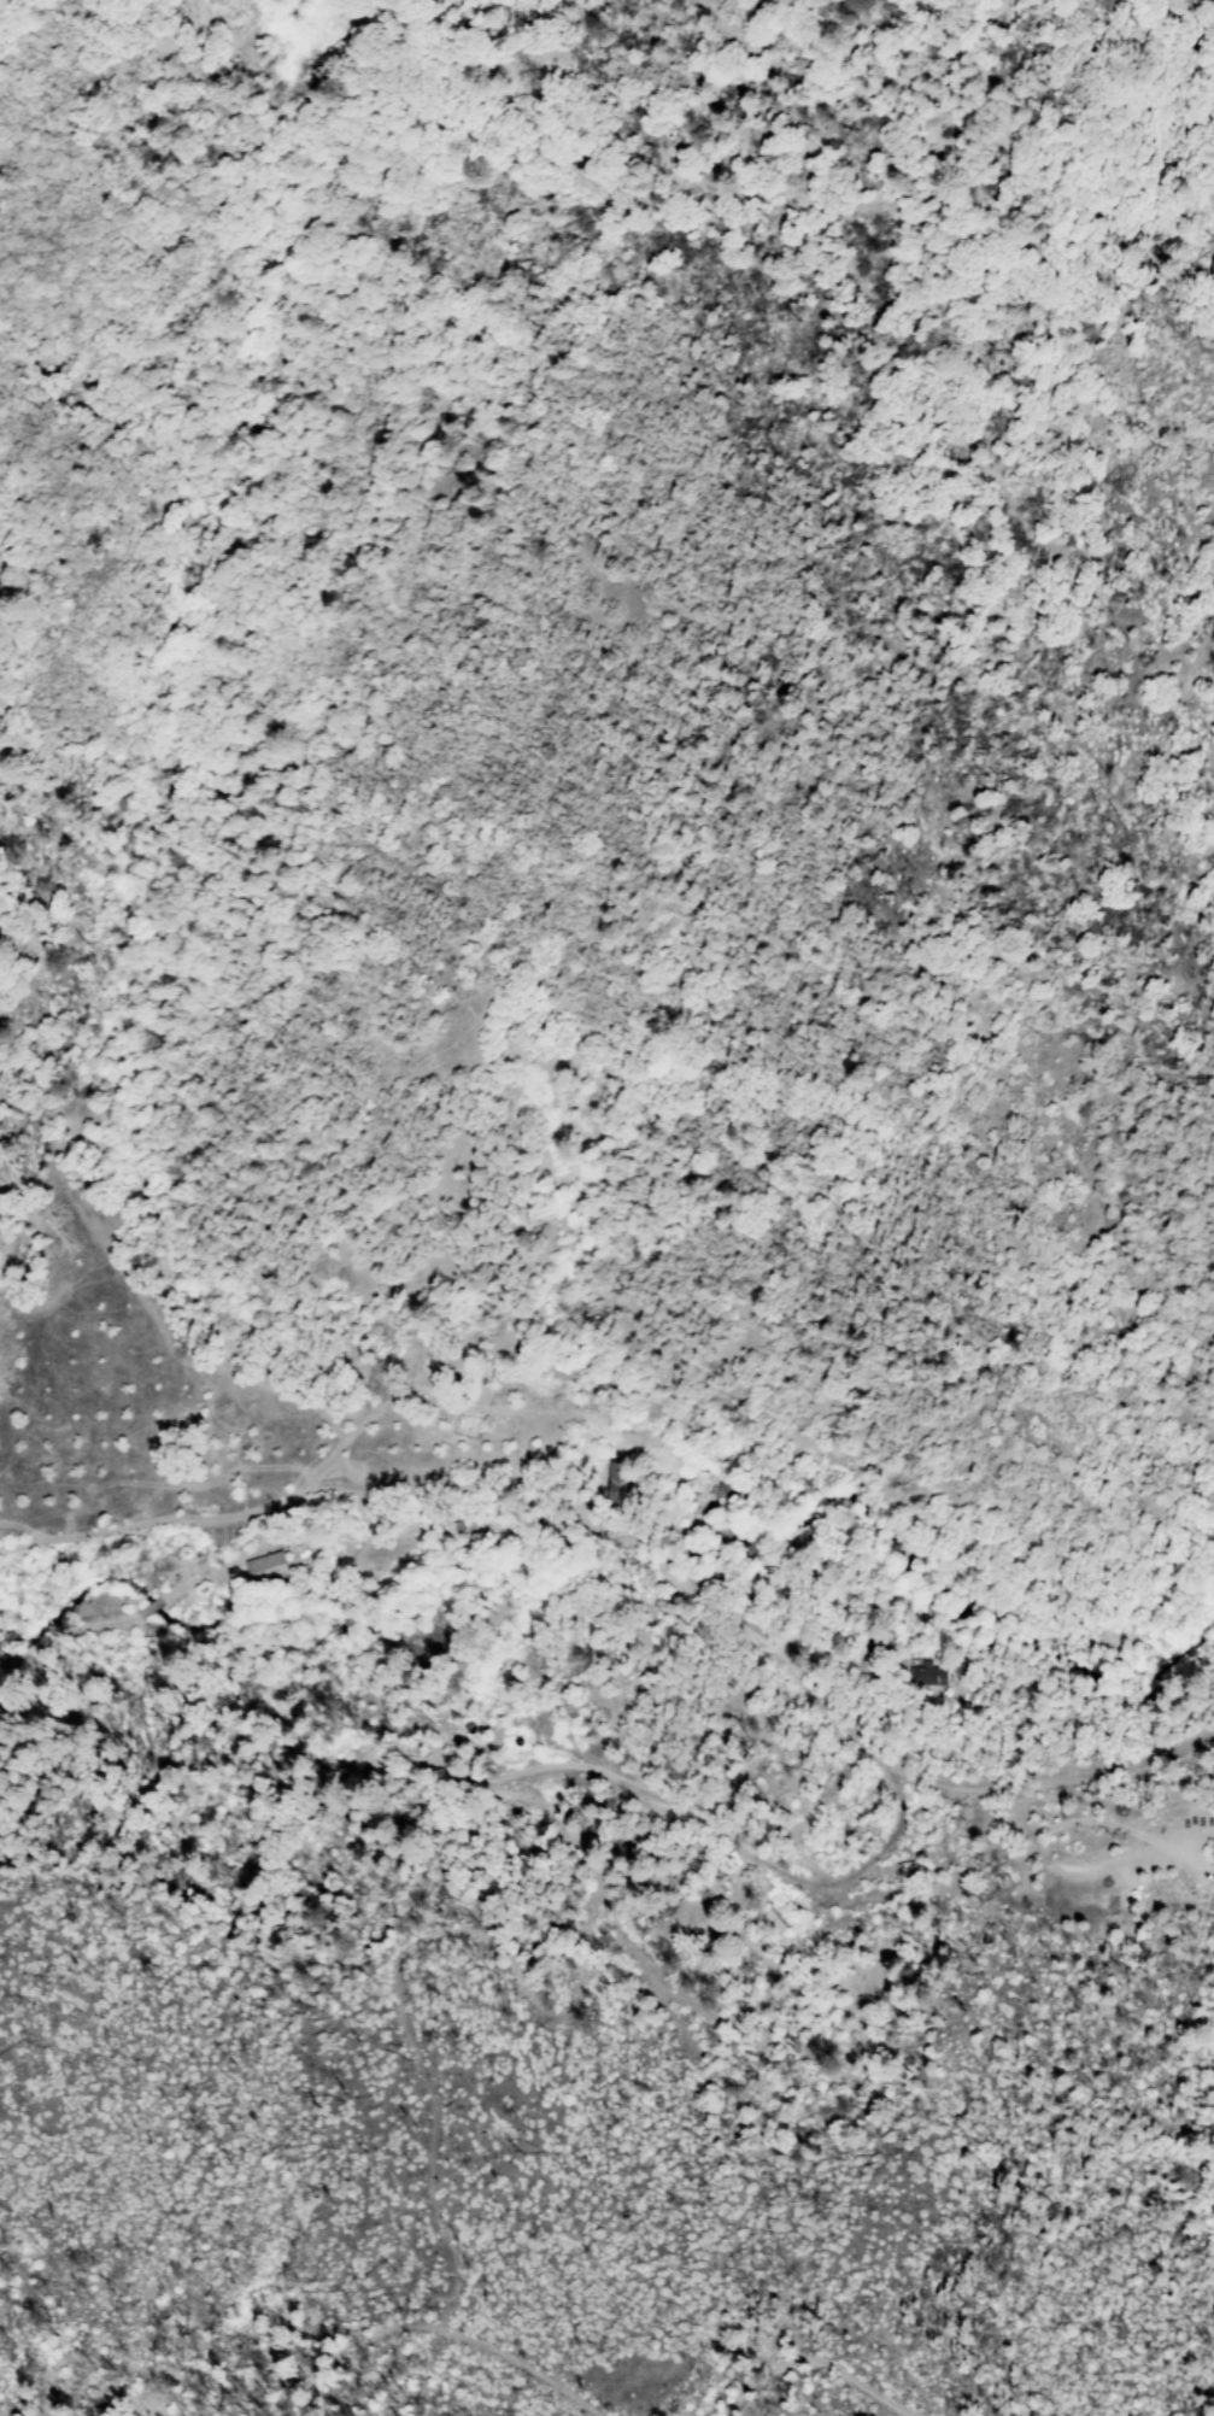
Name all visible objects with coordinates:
building: (410, 1368)
road: (359, 1430)
road: (341, 1471)
building: (697, 1483)
building: (622, 1486)
road: (326, 1489)
building: (728, 1491)
building: (453, 1530)
building: (757, 1548)
building: (305, 1555)
road: (657, 1568)
building: (270, 1571)
building: (218, 1577)
building: (122, 1597)
building: (927, 1675)
building: (458, 1742)
road: (565, 1744)
road: (910, 1777)
road: (727, 1842)
road: (628, 2393)

